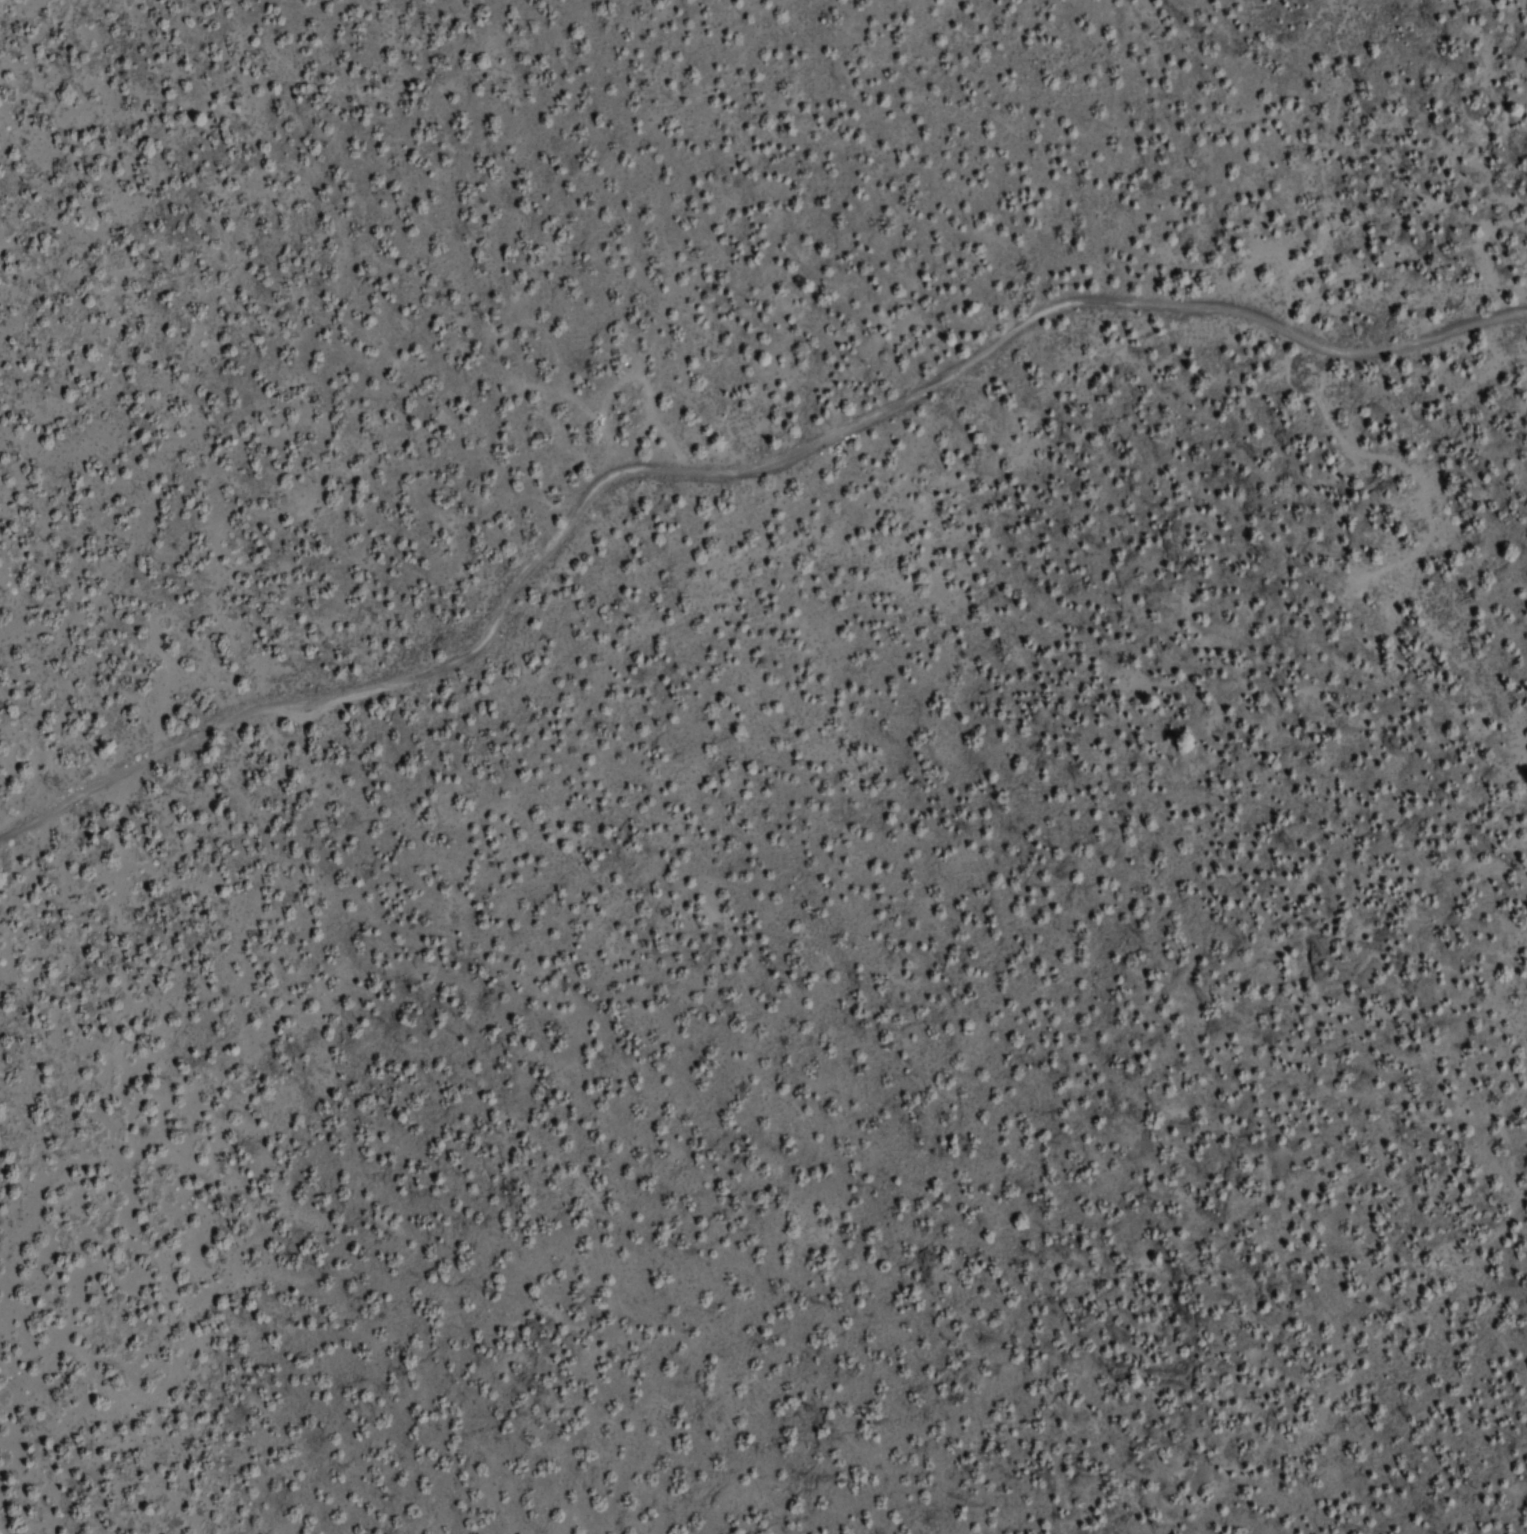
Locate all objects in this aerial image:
road: (728, 468)

